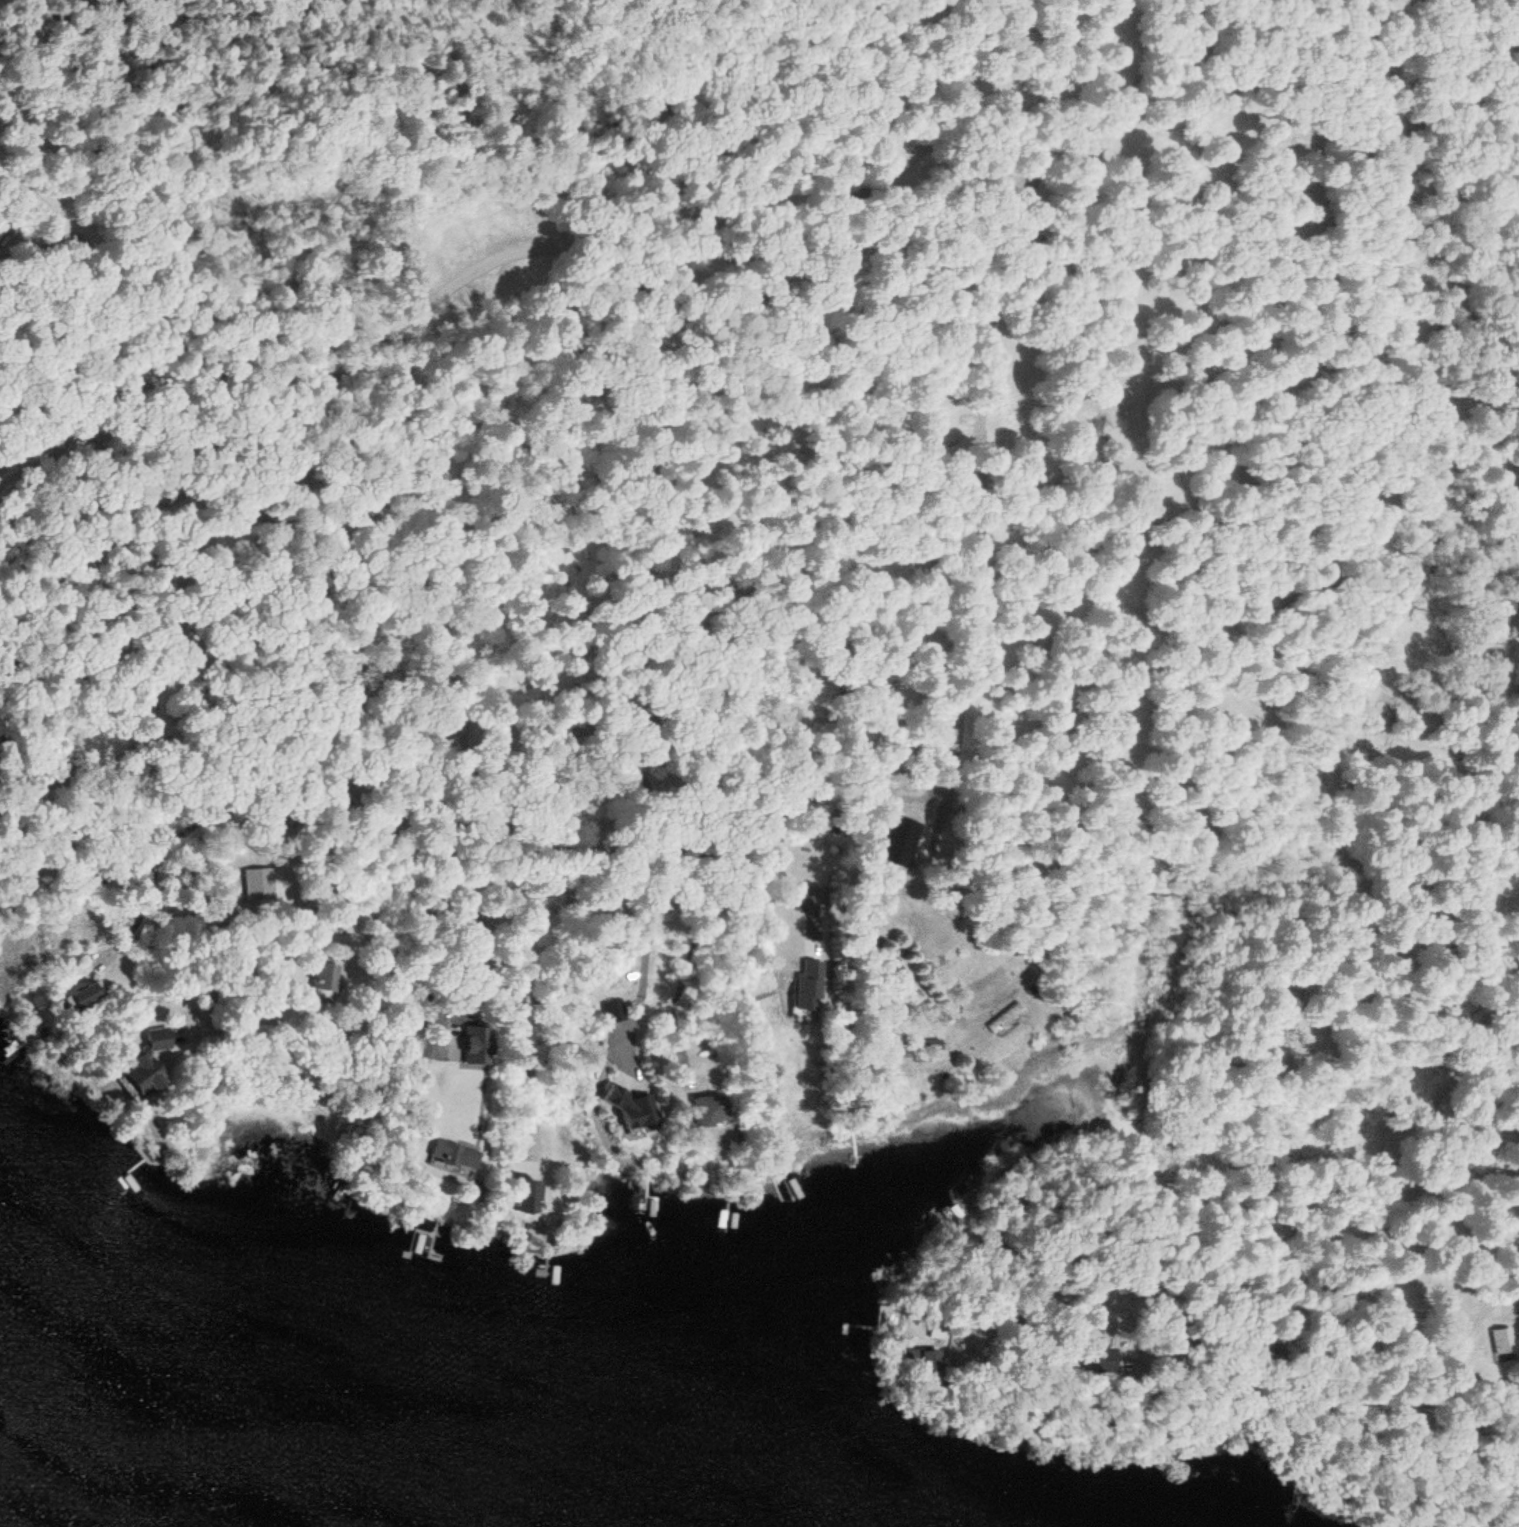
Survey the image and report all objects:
building: (1, 226)
road: (417, 323)
building: (322, 978)
building: (931, 1045)
building: (147, 1057)
building: (713, 1111)
building: (639, 1116)
building: (455, 1156)
building: (528, 1198)
building: (425, 1235)
building: (1500, 1341)

